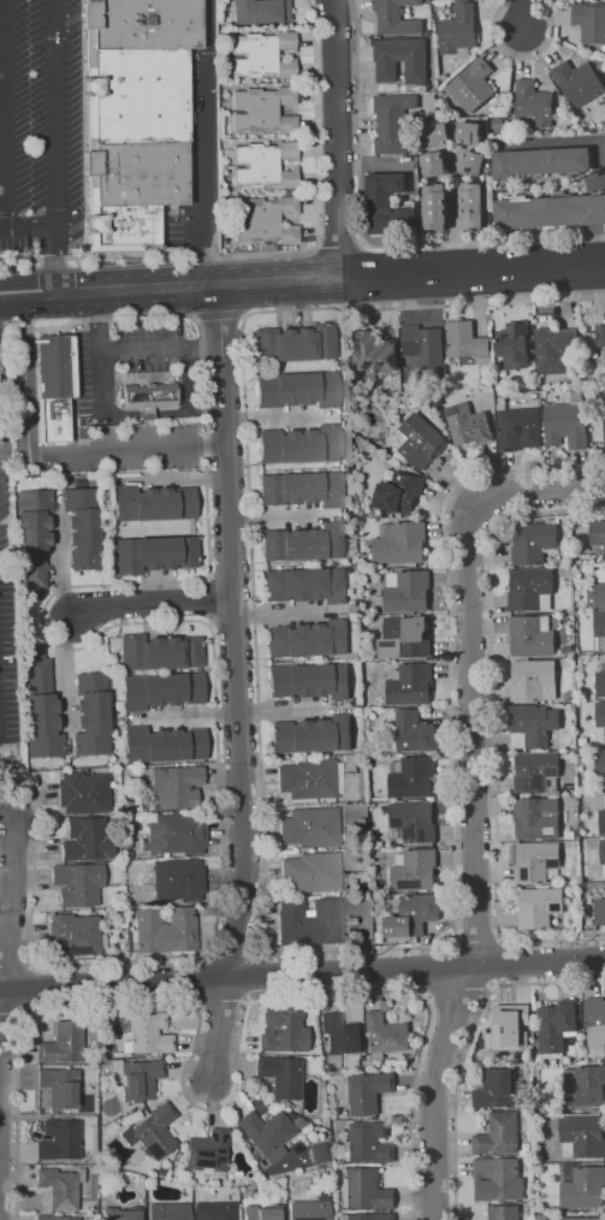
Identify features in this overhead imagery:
building: (257, 11)
road: (520, 13)
building: (395, 18)
building: (589, 22)
building: (457, 28)
building: (263, 54)
road: (521, 57)
building: (401, 59)
building: (577, 82)
building: (471, 84)
building: (532, 103)
building: (265, 109)
road: (4, 113)
building: (134, 116)
road: (356, 120)
building: (392, 120)
parking lot: (36, 122)
building: (468, 132)
building: (435, 134)
road: (337, 138)
road: (204, 142)
road: (55, 146)
building: (540, 161)
building: (265, 162)
building: (471, 162)
building: (432, 164)
building: (386, 205)
building: (471, 205)
building: (433, 207)
building: (550, 211)
building: (263, 219)
road: (28, 227)
road: (453, 233)
road: (482, 239)
road: (362, 242)
road: (338, 245)
road: (315, 247)
road: (280, 253)
road: (330, 278)
road: (28, 294)
road: (220, 314)
road: (244, 315)
road: (196, 318)
building: (600, 334)
building: (293, 342)
building: (467, 342)
building: (425, 344)
building: (512, 344)
building: (556, 349)
road: (129, 351)
building: (376, 351)
road: (244, 359)
building: (61, 389)
building: (296, 390)
building: (152, 391)
building: (534, 396)
building: (437, 398)
building: (568, 421)
building: (469, 425)
building: (518, 426)
building: (604, 430)
building: (420, 440)
building: (298, 444)
road: (49, 454)
building: (403, 457)
road: (553, 487)
building: (301, 488)
building: (399, 492)
building: (153, 503)
building: (82, 527)
building: (598, 532)
building: (31, 538)
building: (303, 543)
building: (401, 543)
building: (534, 543)
building: (155, 553)
building: (304, 585)
building: (600, 588)
building: (408, 590)
building: (532, 590)
road: (152, 603)
road: (149, 621)
building: (600, 628)
road: (233, 633)
building: (409, 634)
building: (533, 635)
building: (308, 638)
building: (569, 649)
building: (159, 652)
building: (534, 680)
building: (600, 680)
building: (309, 681)
building: (411, 683)
building: (160, 689)
building: (573, 693)
building: (38, 706)
building: (575, 706)
road: (278, 710)
building: (601, 713)
building: (90, 715)
road: (188, 715)
road: (474, 719)
building: (533, 726)
road: (493, 728)
building: (414, 732)
building: (312, 734)
building: (583, 741)
building: (162, 744)
building: (600, 760)
building: (538, 772)
building: (413, 776)
building: (312, 778)
building: (176, 786)
building: (83, 793)
building: (536, 818)
building: (415, 821)
building: (603, 821)
road: (455, 824)
building: (310, 828)
building: (177, 834)
building: (88, 840)
building: (603, 852)
building: (535, 860)
building: (416, 870)
building: (313, 872)
building: (179, 880)
building: (79, 883)
building: (378, 896)
road: (11, 906)
building: (540, 907)
building: (587, 911)
building: (600, 911)
building: (414, 914)
building: (312, 923)
building: (164, 930)
building: (75, 935)
building: (380, 936)
road: (475, 941)
road: (235, 949)
road: (260, 972)
road: (302, 976)
road: (10, 1011)
road: (0, 1025)
building: (509, 1026)
building: (558, 1026)
building: (595, 1026)
road: (220, 1031)
building: (284, 1031)
building: (148, 1035)
building: (342, 1035)
building: (385, 1035)
building: (479, 1035)
road: (463, 1042)
building: (65, 1043)
building: (362, 1066)
building: (281, 1076)
building: (138, 1079)
building: (585, 1085)
building: (60, 1086)
road: (435, 1089)
building: (500, 1089)
building: (370, 1091)
road: (226, 1104)
building: (287, 1104)
building: (132, 1108)
building: (595, 1111)
building: (132, 1118)
building: (297, 1120)
building: (156, 1131)
building: (267, 1132)
building: (499, 1135)
building: (90, 1136)
building: (585, 1136)
building: (60, 1138)
building: (369, 1143)
building: (318, 1153)
building: (208, 1154)
building: (324, 1169)
building: (161, 1173)
building: (126, 1177)
building: (499, 1178)
building: (141, 1179)
building: (582, 1185)
building: (61, 1188)
building: (366, 1190)
building: (312, 1208)
building: (170, 1210)
building: (215, 1210)
building: (505, 1212)
building: (120, 1213)
building: (263, 1213)
building: (370, 1216)
building: (542, 1216)
building: (55, 1218)
building: (583, 1218)

